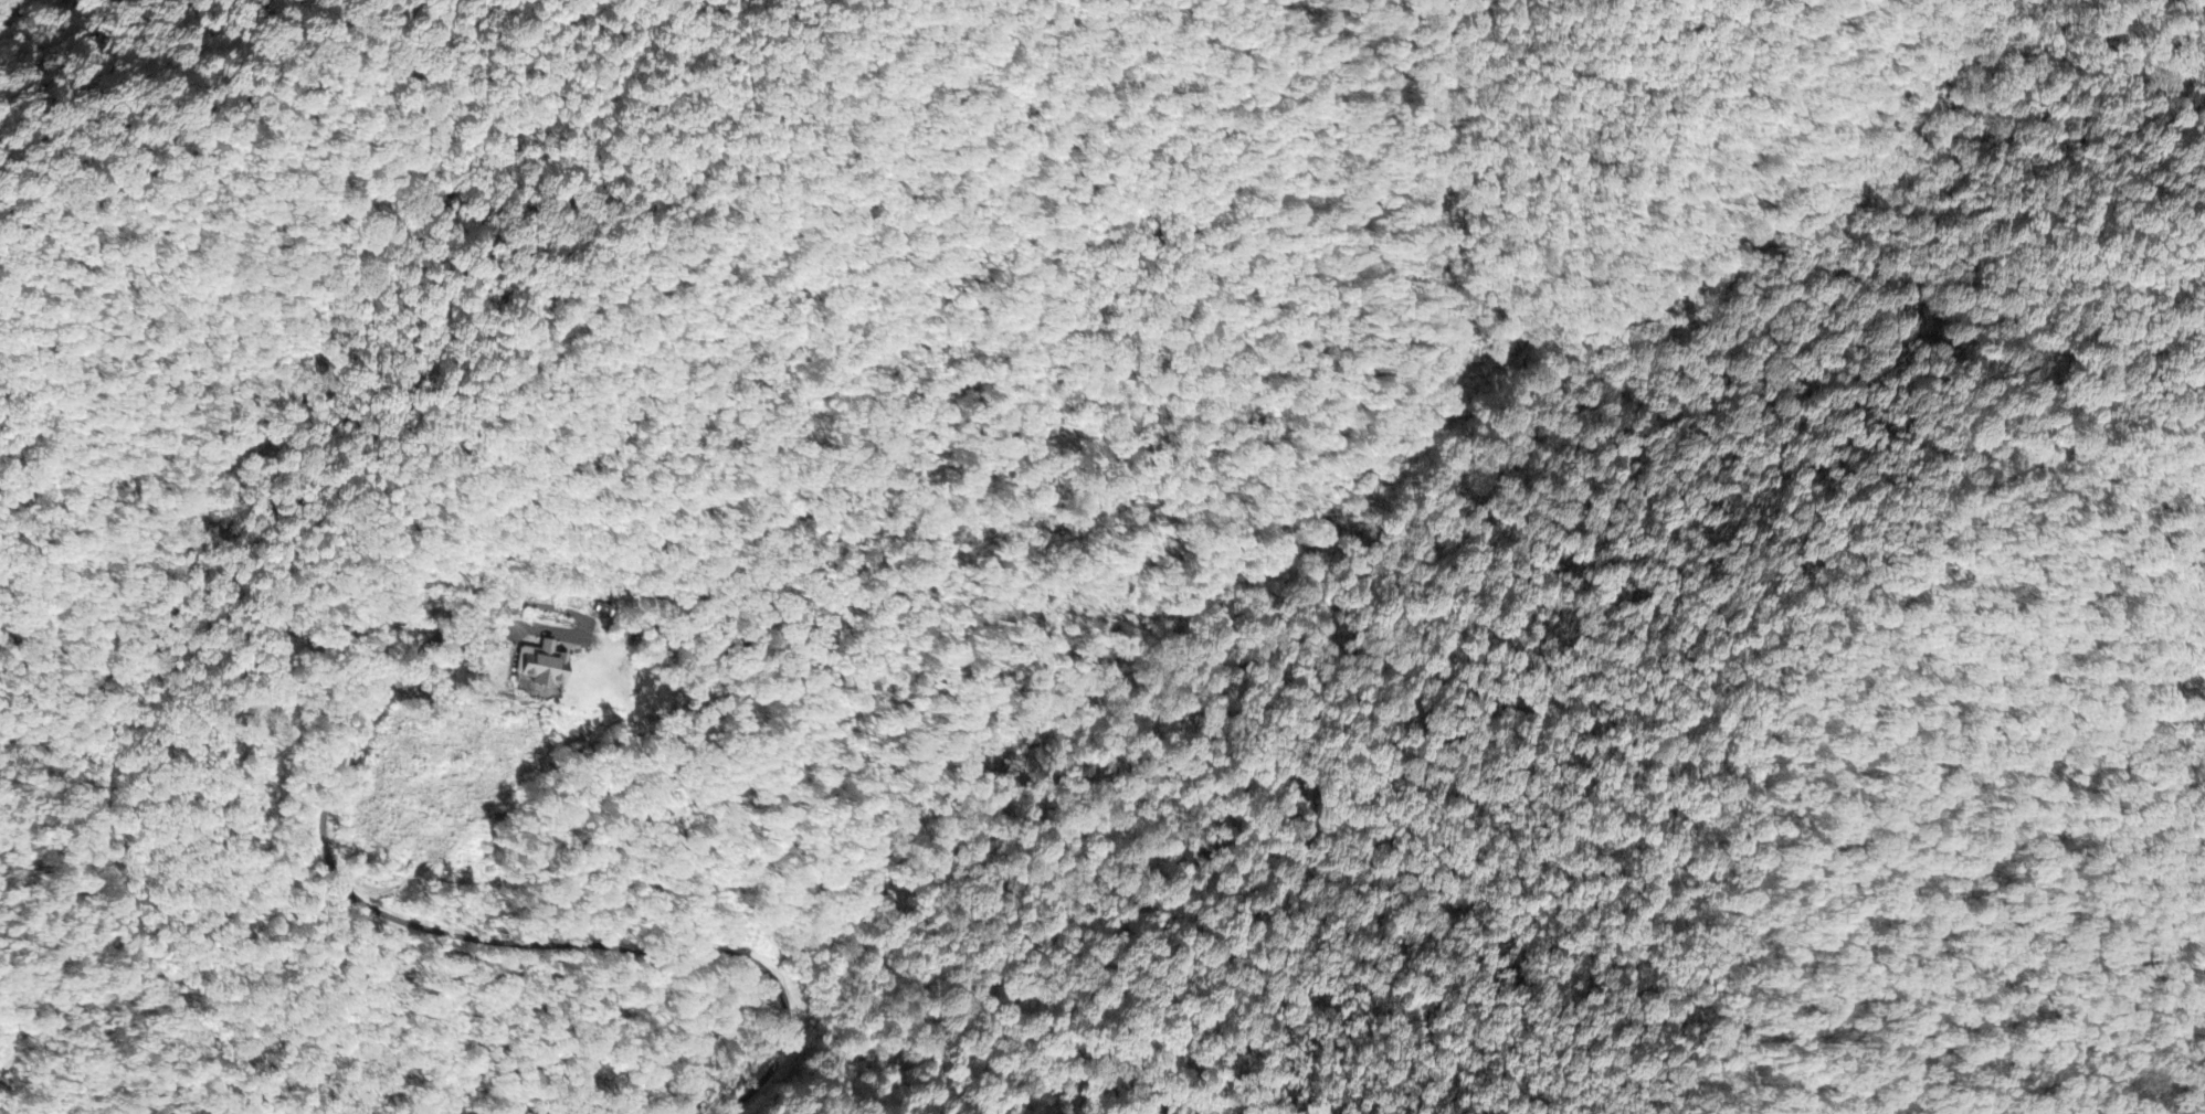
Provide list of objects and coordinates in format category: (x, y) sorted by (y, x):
building: (600, 601)
road: (587, 614)
building: (541, 660)
road: (493, 938)

